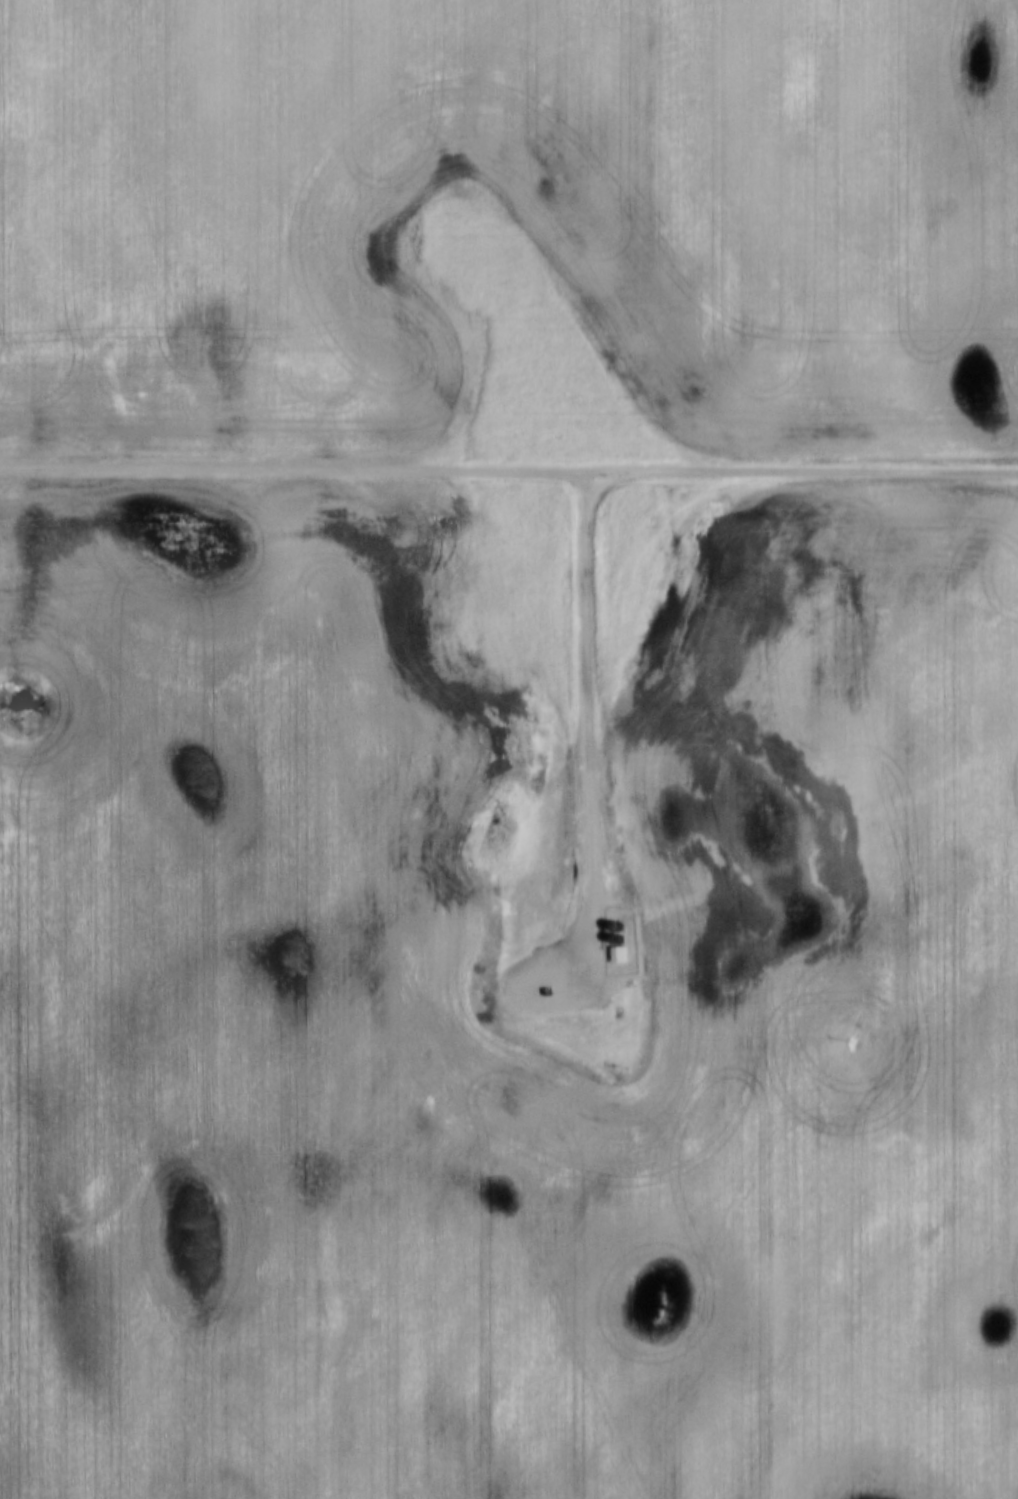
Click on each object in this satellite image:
road: (508, 465)
road: (590, 707)
building: (617, 954)

